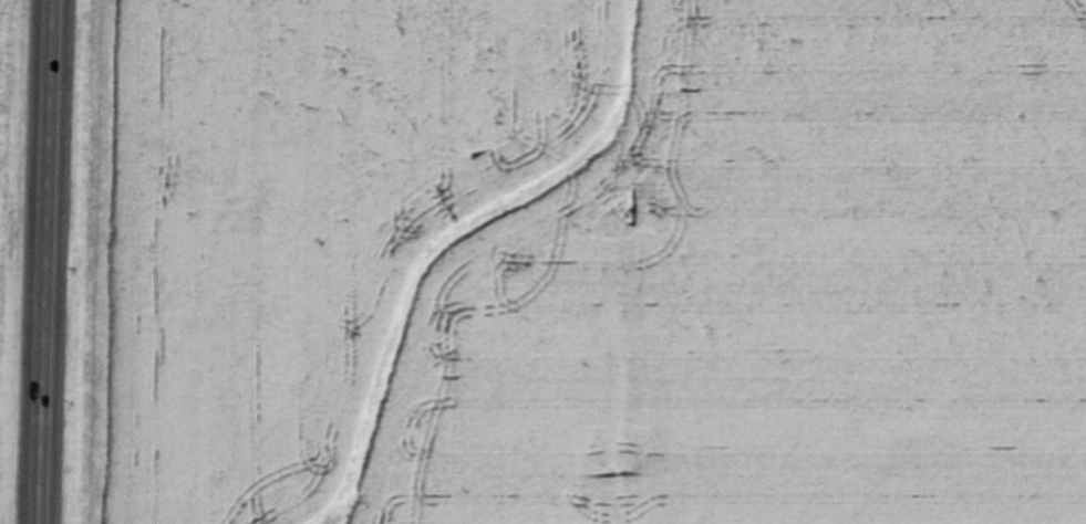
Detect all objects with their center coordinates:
road: (50, 262)

